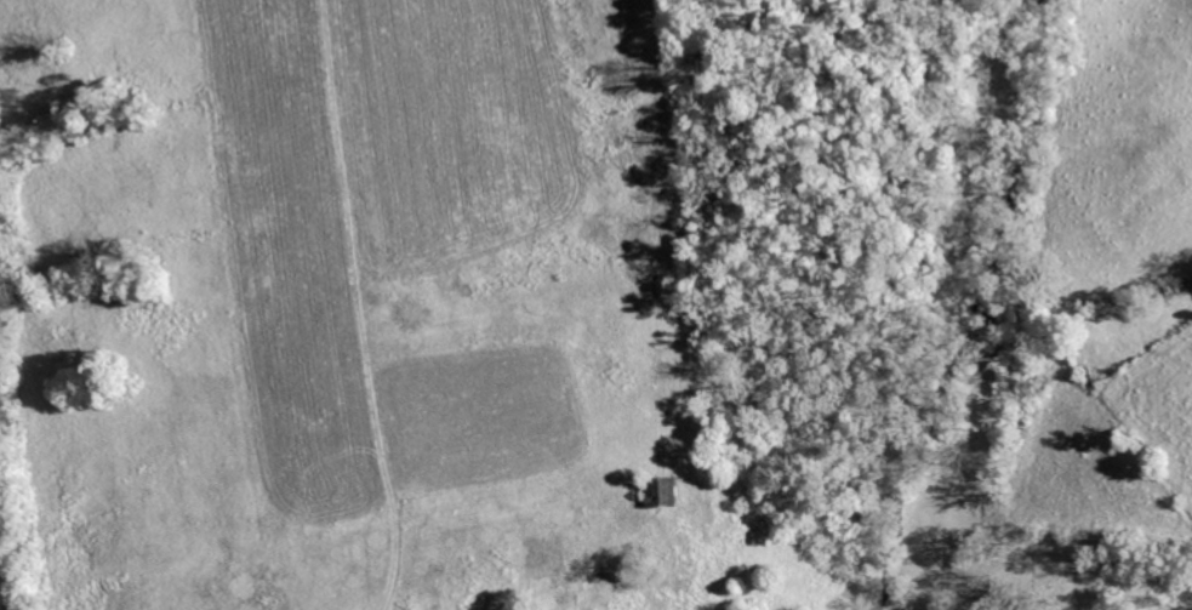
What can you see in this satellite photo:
building: (662, 492)
road: (4, 568)

